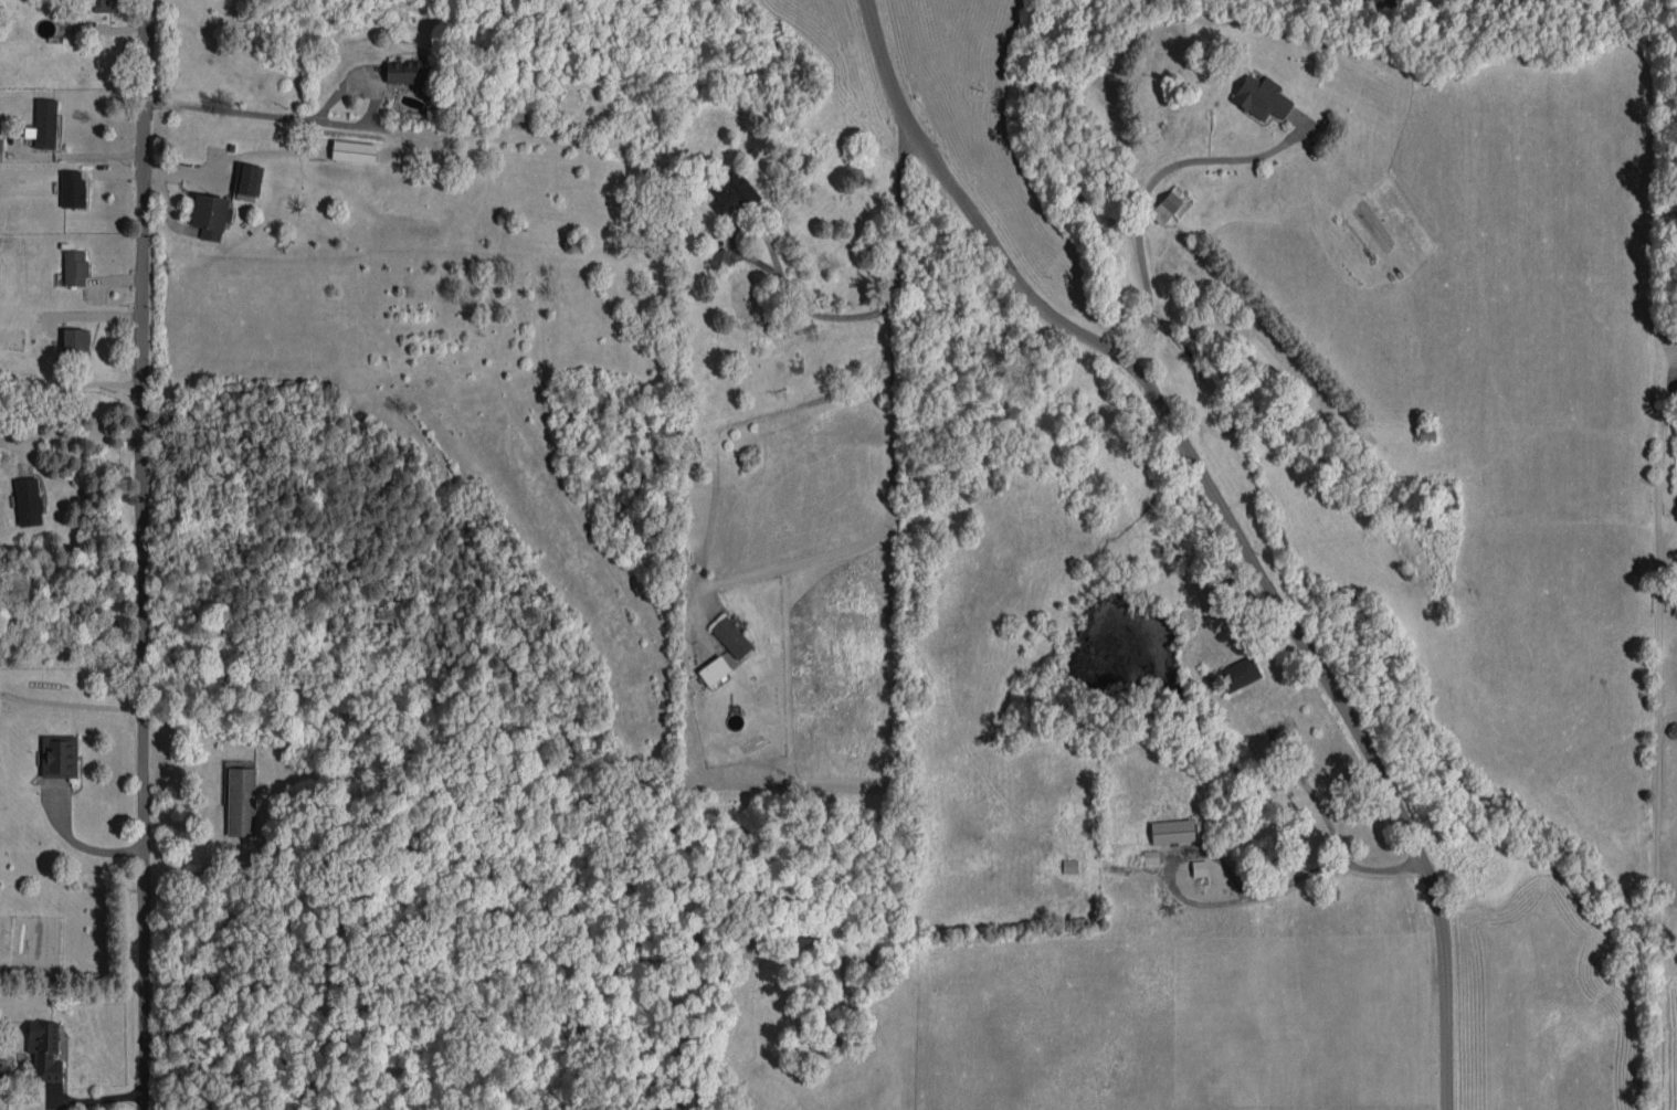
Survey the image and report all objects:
building: (105, 6)
building: (408, 71)
building: (1261, 97)
building: (523, 110)
road: (305, 123)
building: (44, 124)
building: (352, 150)
road: (91, 152)
building: (247, 178)
building: (72, 188)
building: (732, 192)
road: (1142, 198)
building: (1171, 204)
building: (210, 215)
building: (718, 258)
road: (774, 263)
building: (75, 266)
building: (76, 341)
road: (71, 383)
road: (893, 421)
road: (70, 437)
building: (689, 450)
building: (28, 500)
road: (1226, 518)
road: (143, 554)
building: (731, 636)
building: (714, 669)
building: (1238, 674)
road: (1667, 718)
road: (1658, 730)
building: (59, 755)
building: (241, 801)
road: (1316, 804)
building: (1172, 831)
road: (83, 845)
building: (1150, 856)
building: (1069, 865)
building: (1199, 867)
road: (1234, 898)
building: (44, 1049)

